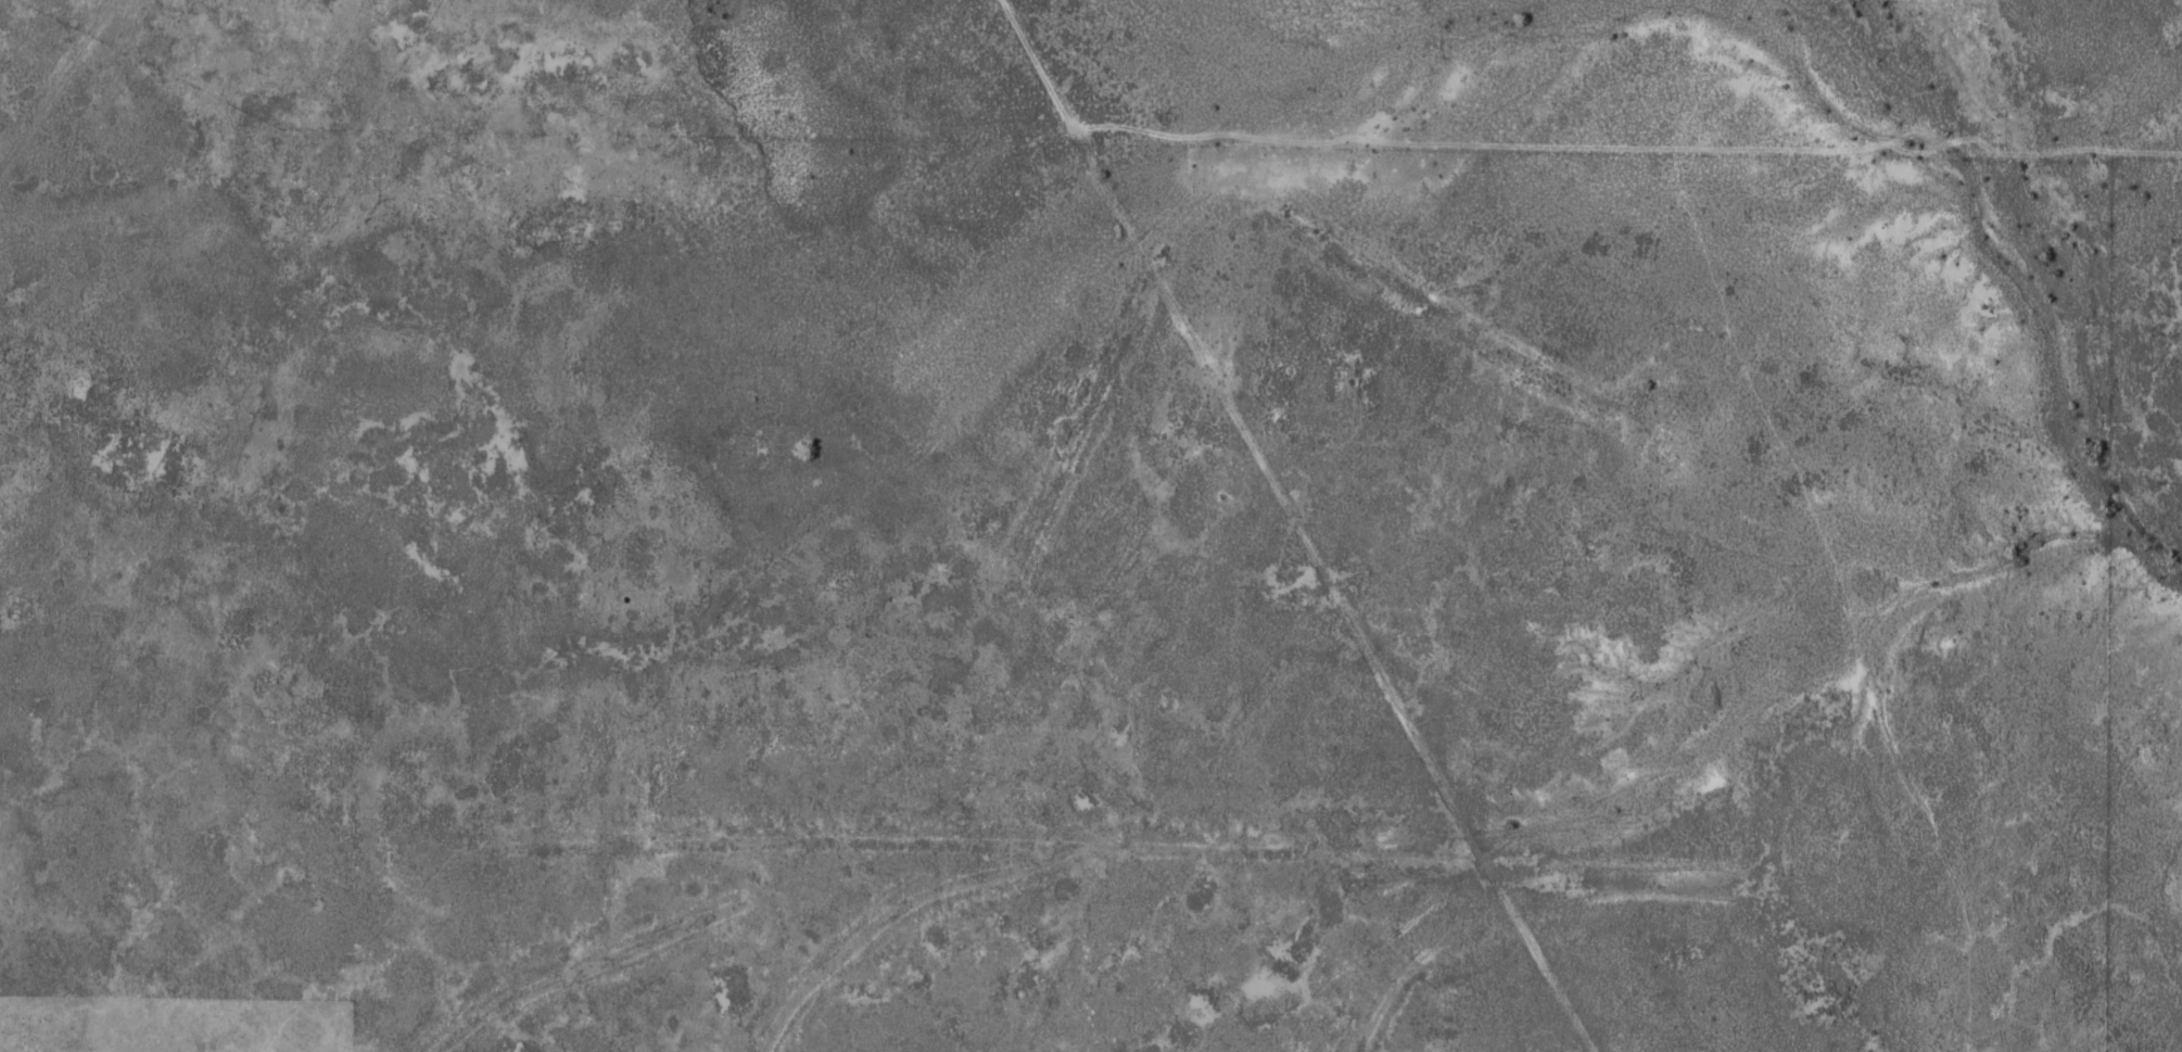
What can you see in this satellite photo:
road: (1266, 525)

